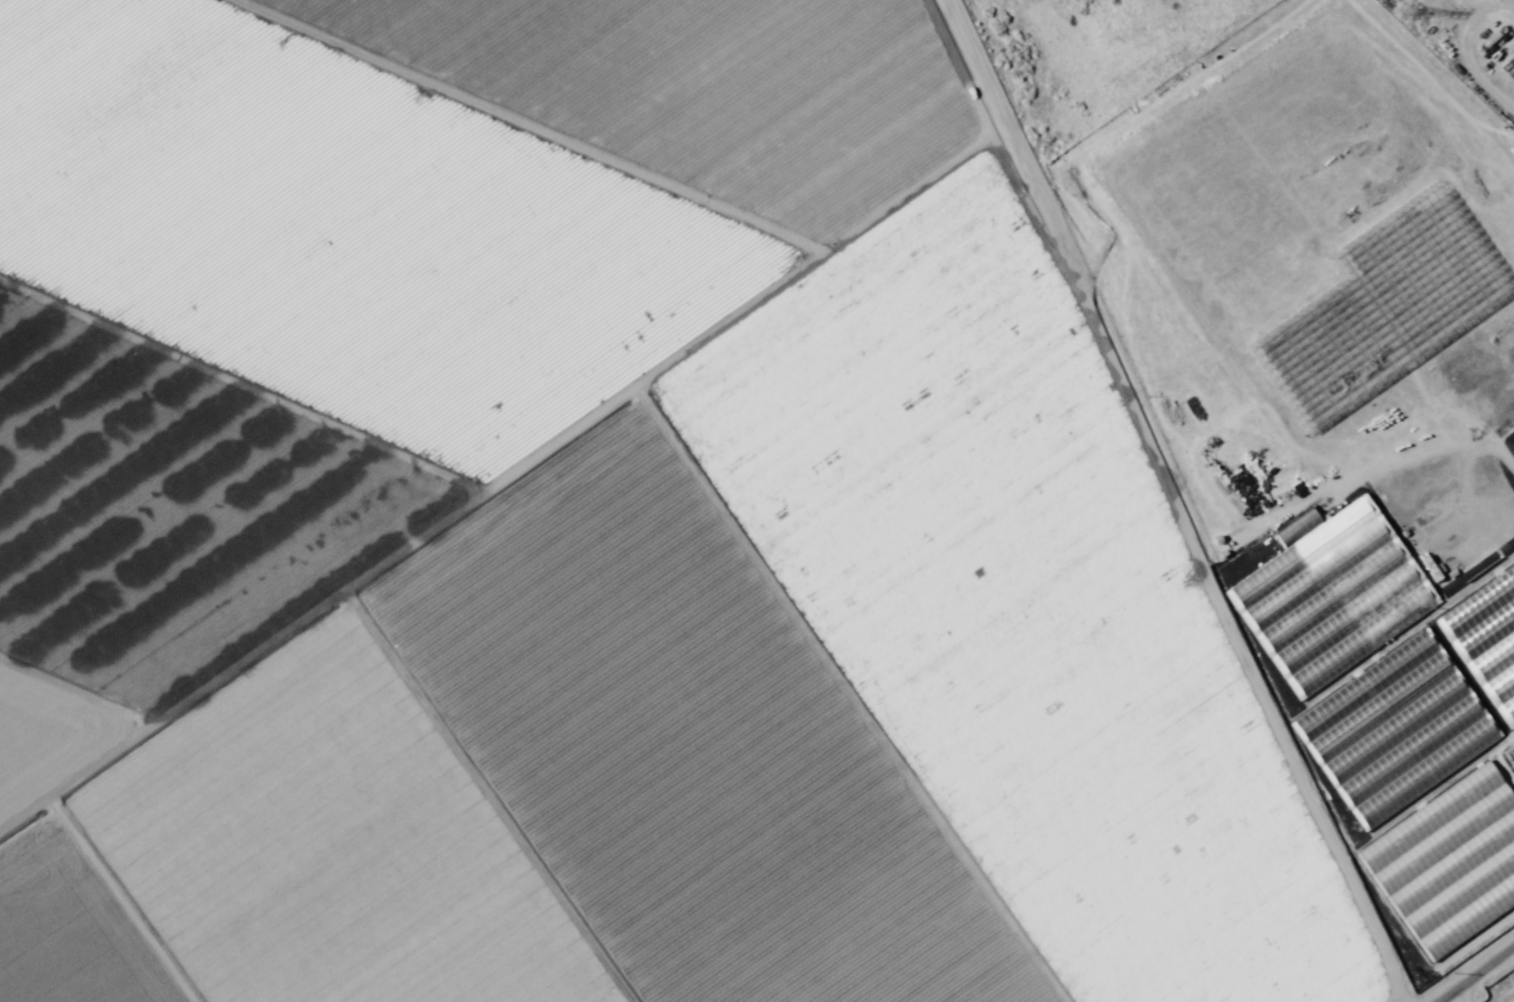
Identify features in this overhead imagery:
power tower: (1405, 10)
road: (573, 178)
building: (1394, 311)
building: (1321, 327)
building: (1408, 331)
building: (1429, 335)
building: (1267, 346)
building: (1339, 350)
building: (1431, 361)
building: (1271, 380)
building: (1367, 392)
building: (1310, 437)
building: (1251, 470)
building: (1494, 477)
crop: (631, 517)
road: (411, 576)
building: (1333, 595)
building: (1483, 621)
road: (1255, 679)
building: (1397, 730)
building: (1509, 752)
building: (1450, 862)
road: (1474, 974)

